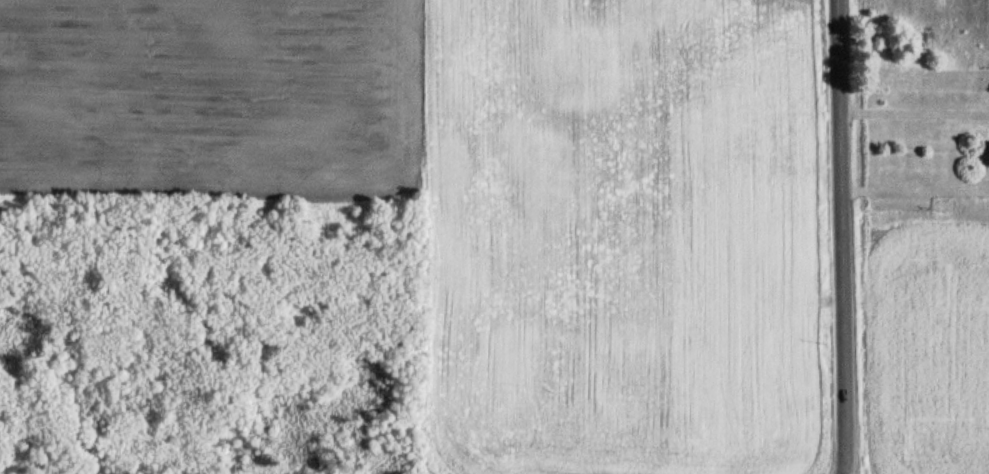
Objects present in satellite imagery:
building: (987, 157)
road: (840, 237)

